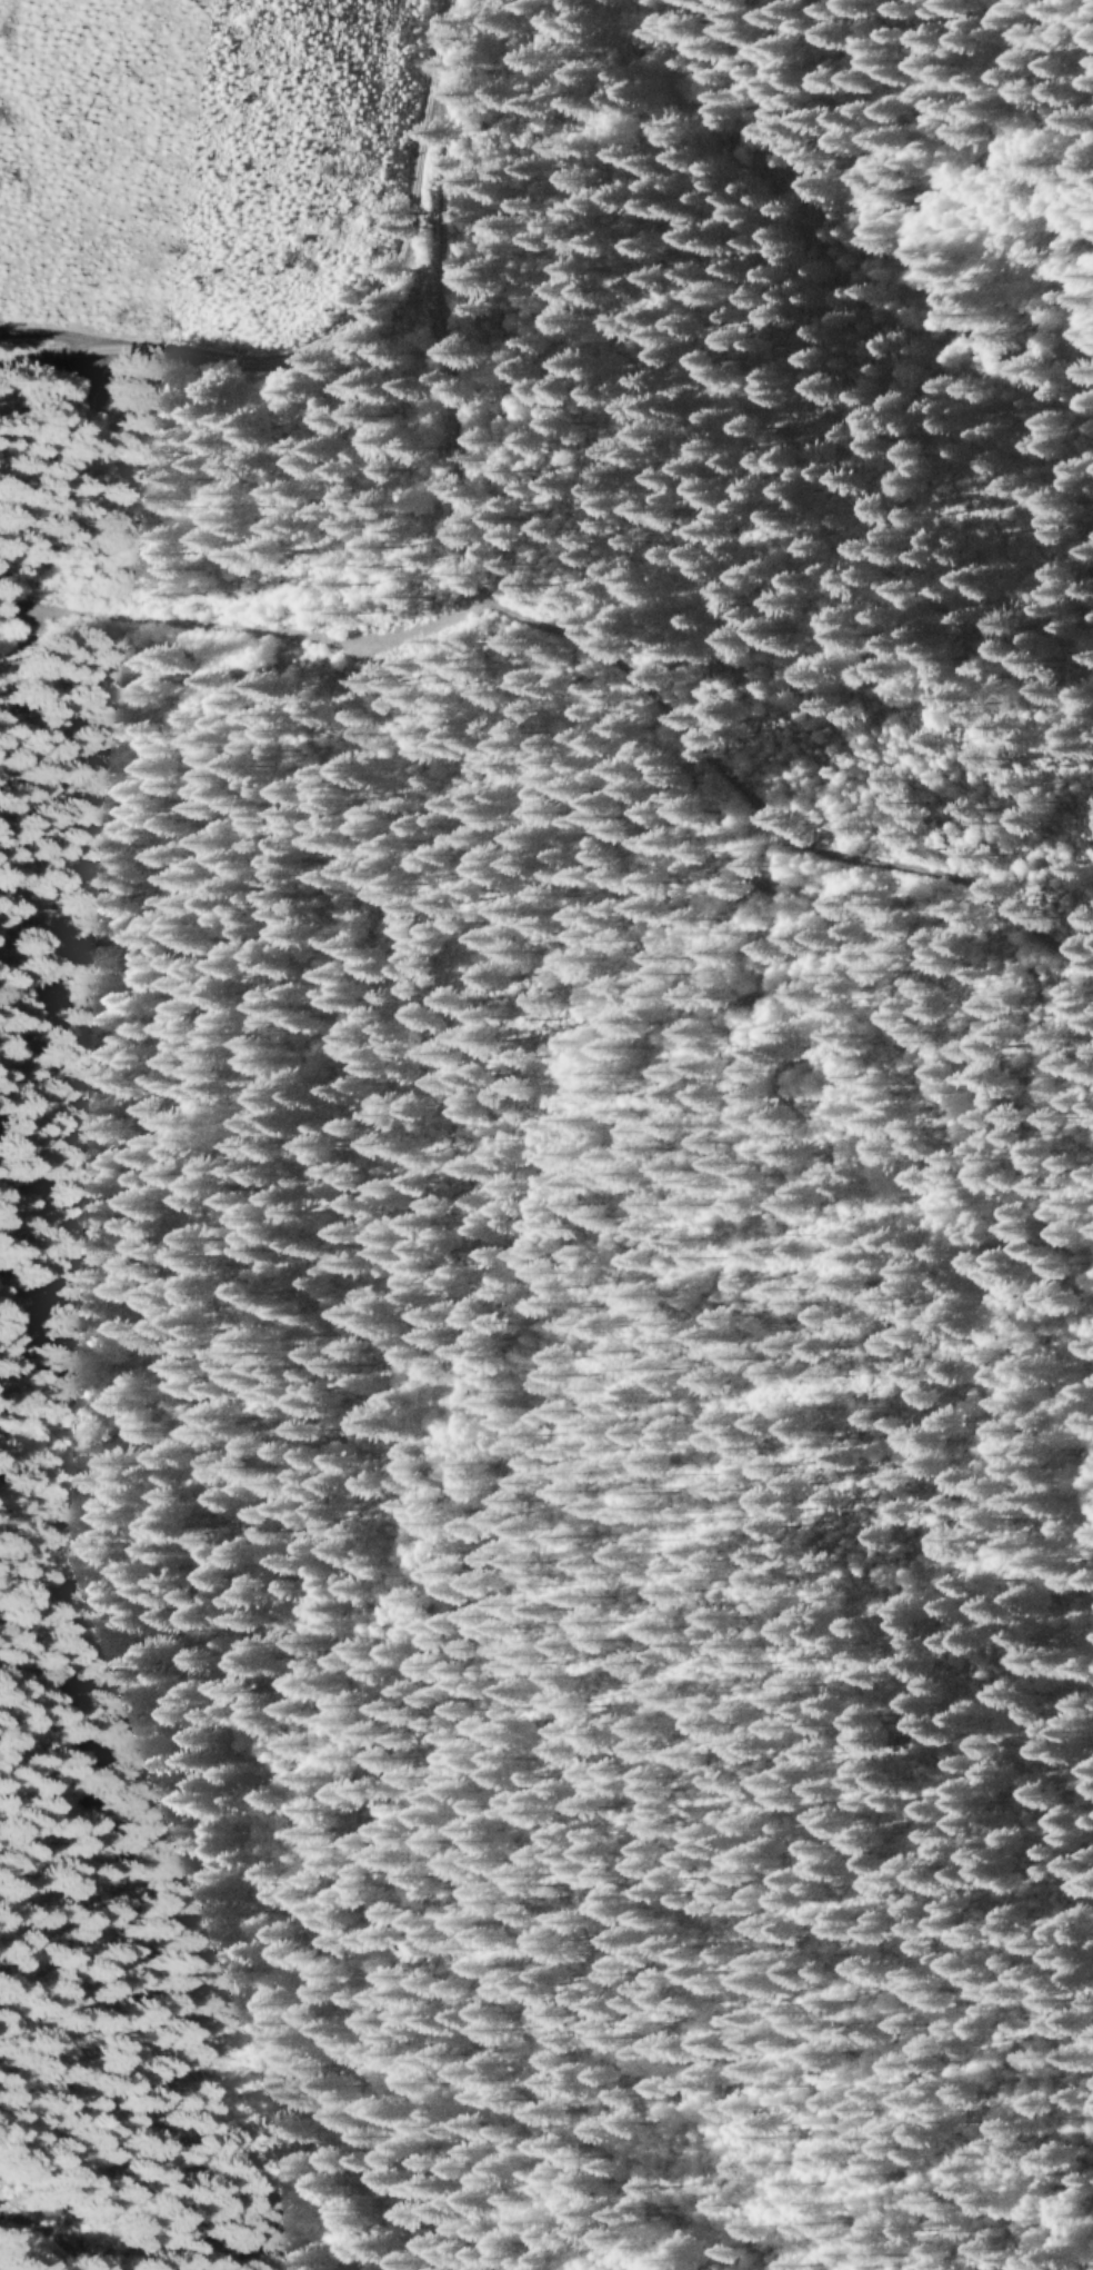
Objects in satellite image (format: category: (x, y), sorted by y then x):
road: (389, 288)
road: (63, 338)
road: (62, 357)
road: (271, 635)
road: (571, 638)
road: (566, 2122)
road: (52, 2237)

